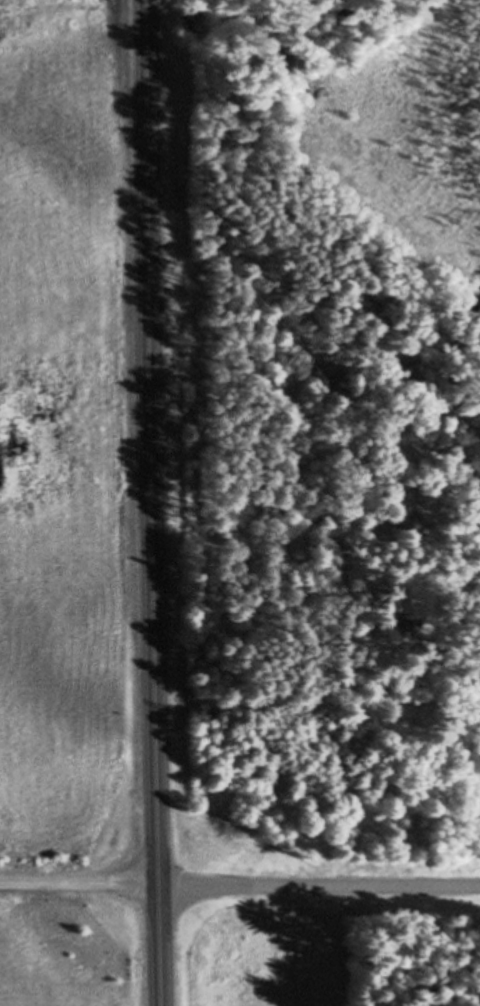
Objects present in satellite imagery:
road: (150, 503)
road: (240, 883)

